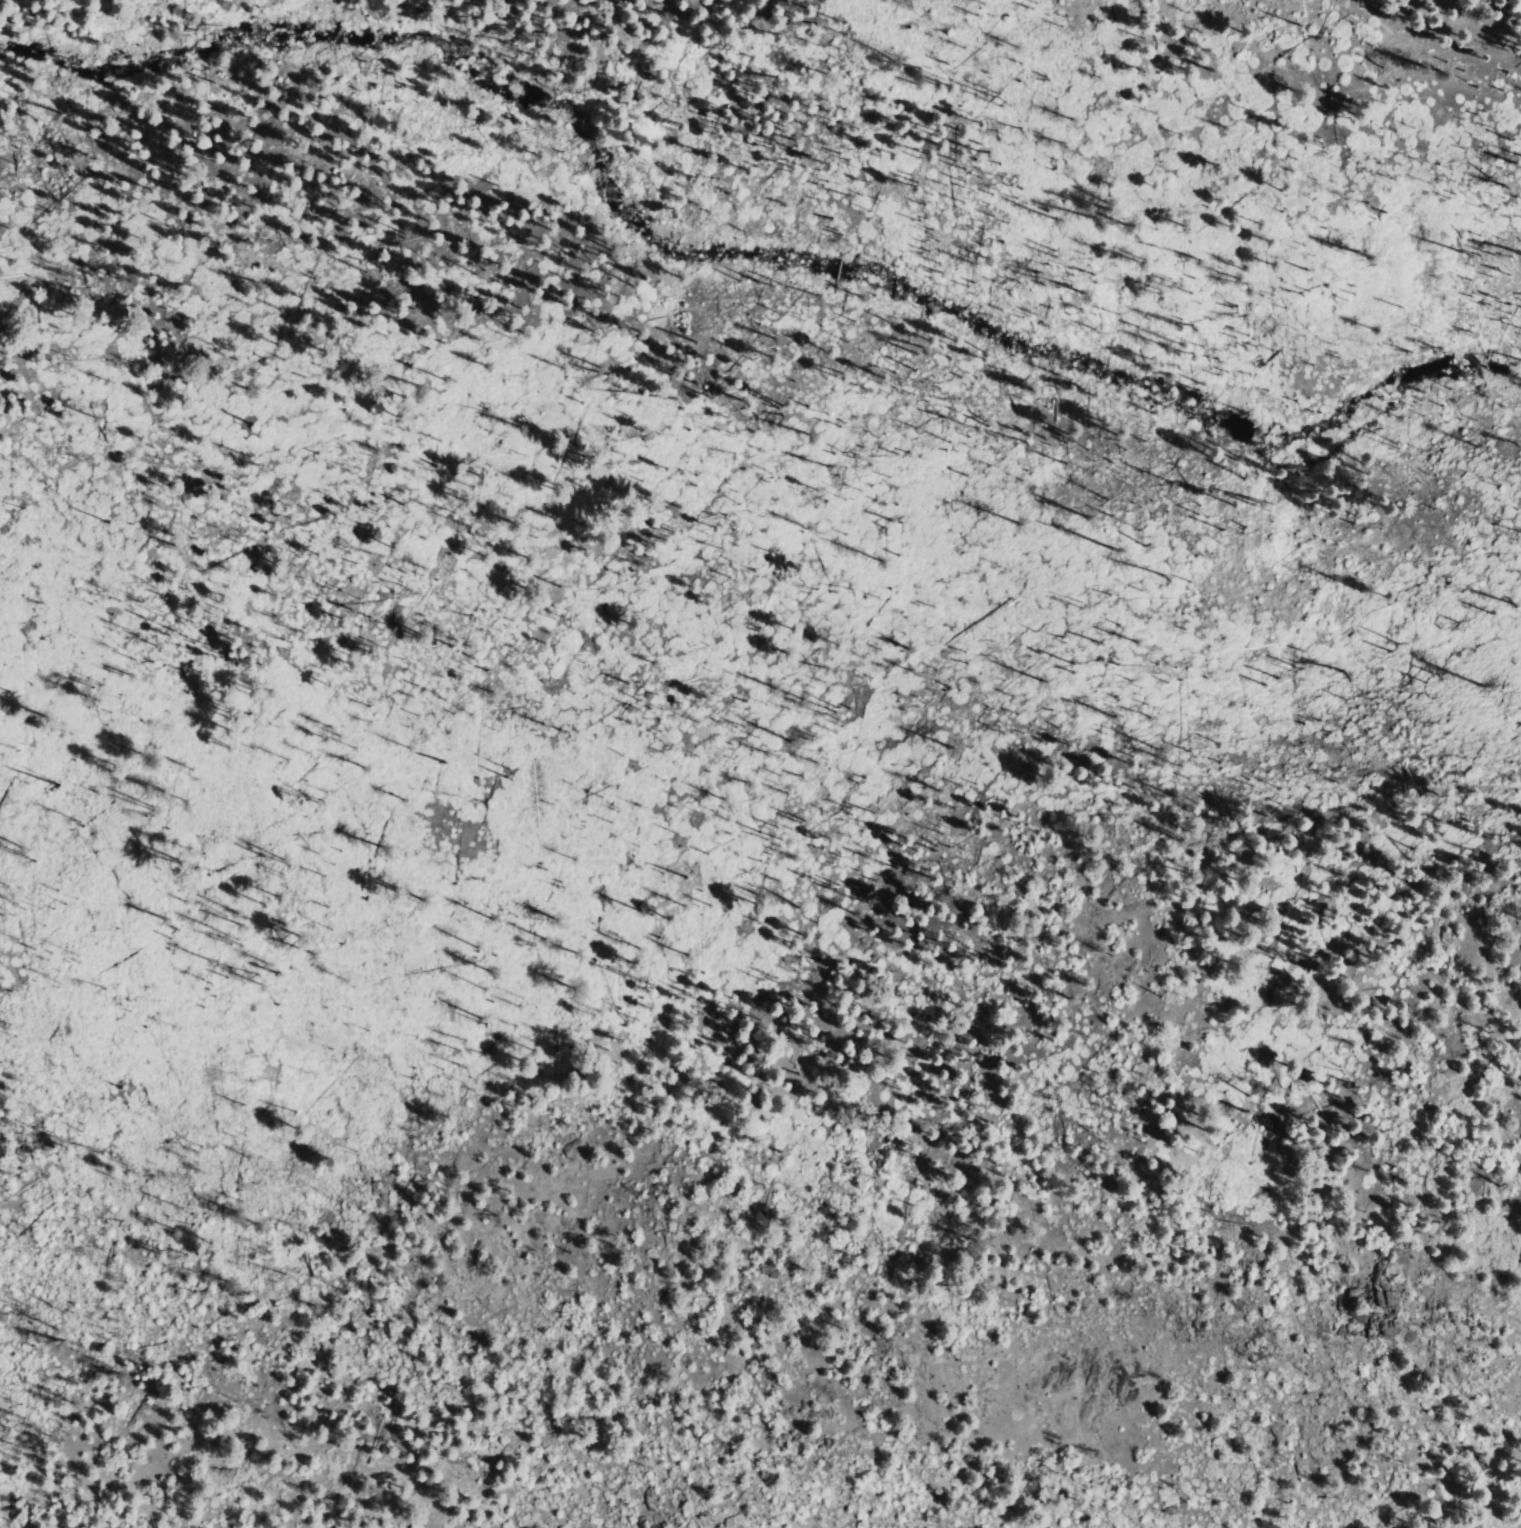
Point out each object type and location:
road: (1355, 87)

